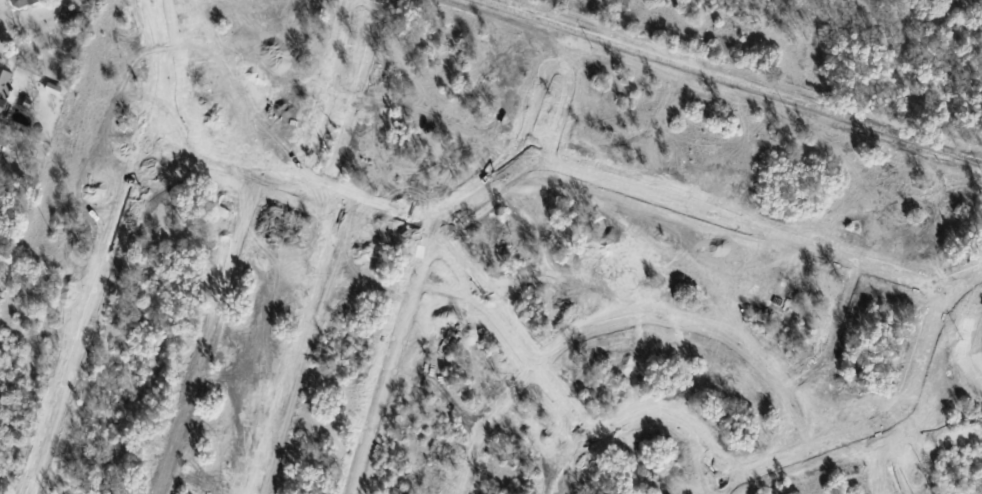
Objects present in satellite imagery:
building: (20, 3)
building: (65, 15)
building: (4, 86)
building: (51, 89)
building: (3, 139)

